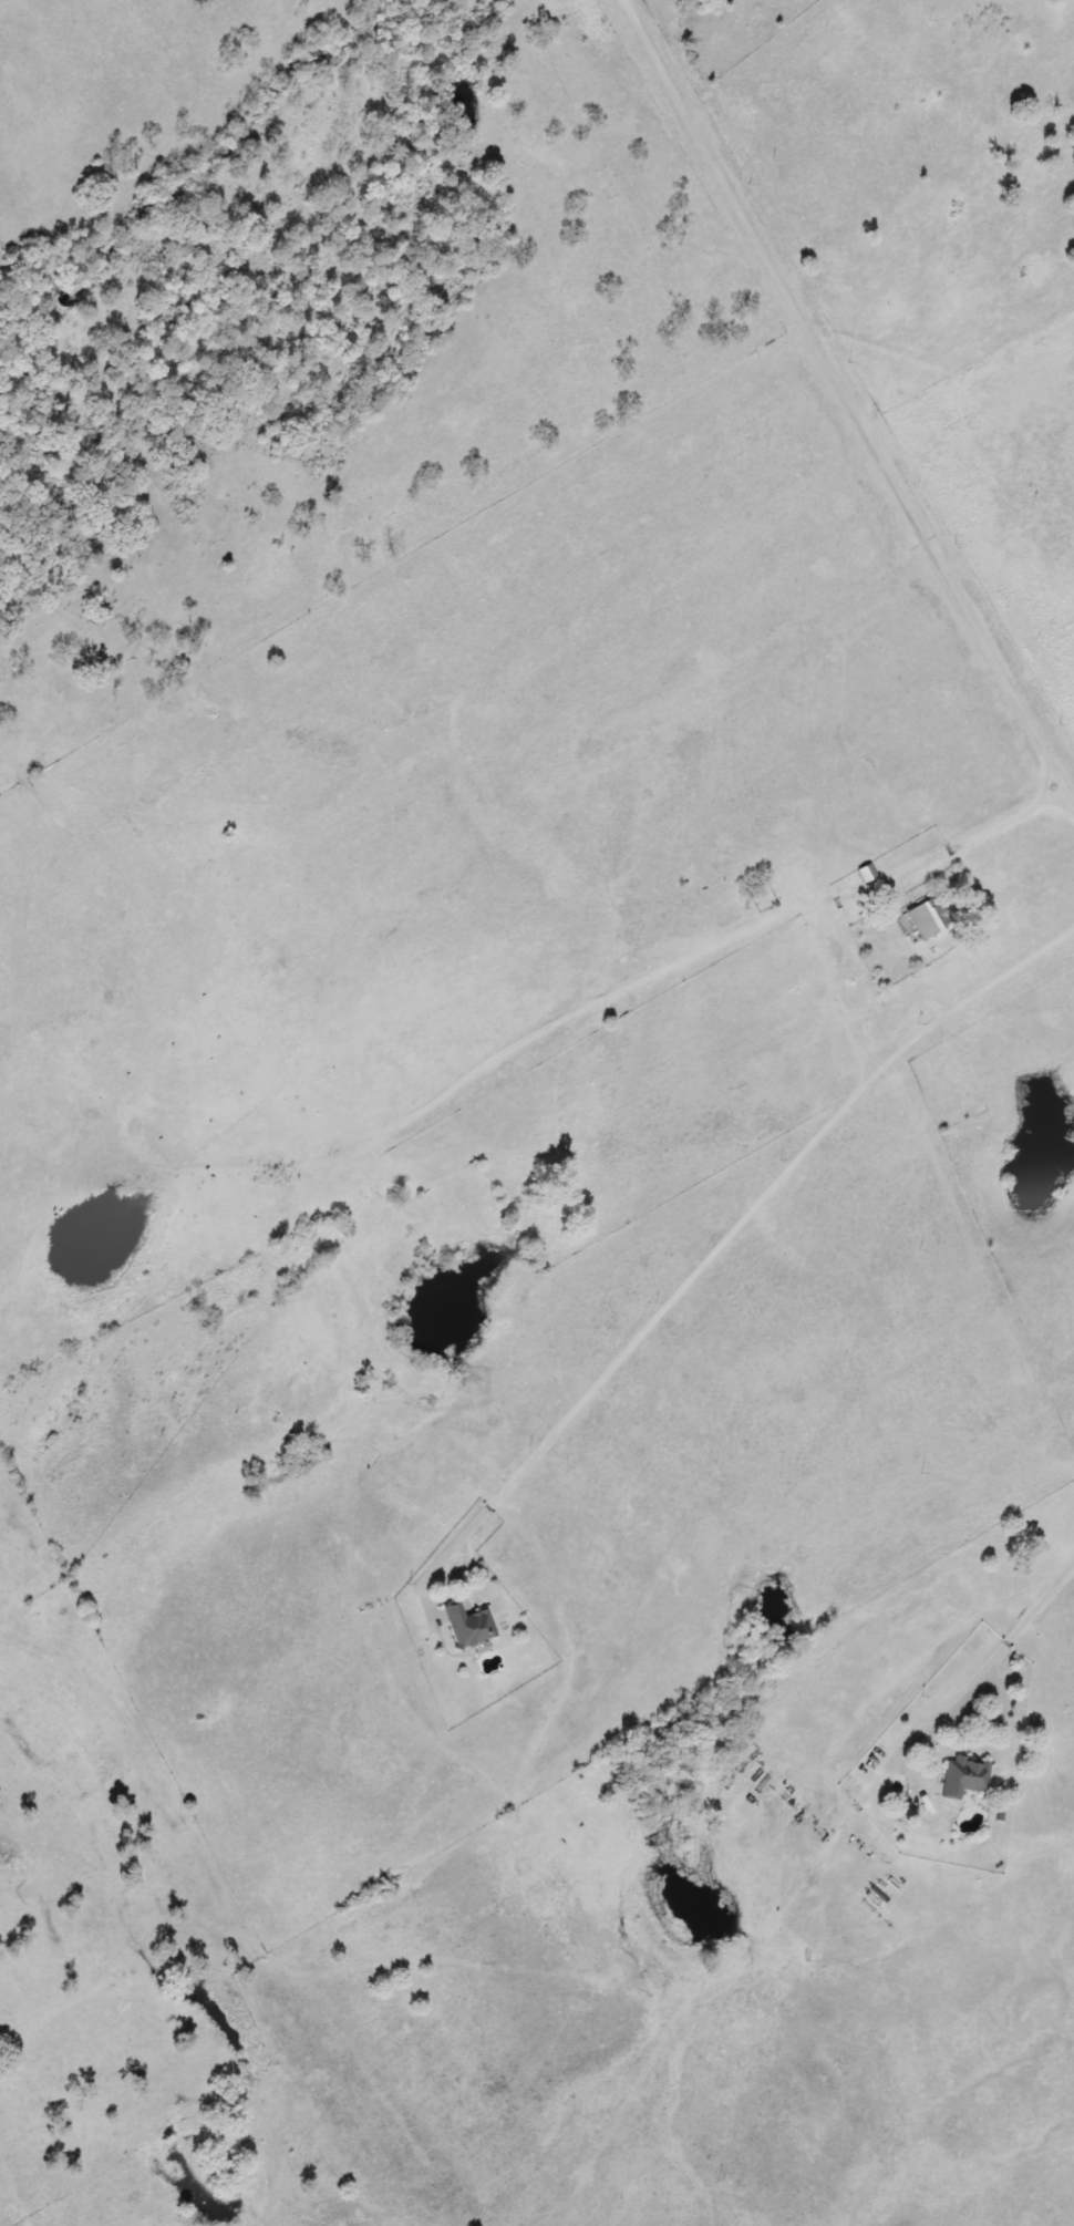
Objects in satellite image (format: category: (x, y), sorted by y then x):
road: (891, 485)
road: (1061, 784)
building: (866, 872)
building: (928, 917)
road: (467, 1082)
building: (347, 1173)
road: (719, 1248)
building: (467, 1625)
road: (1011, 1637)
building: (962, 1776)

